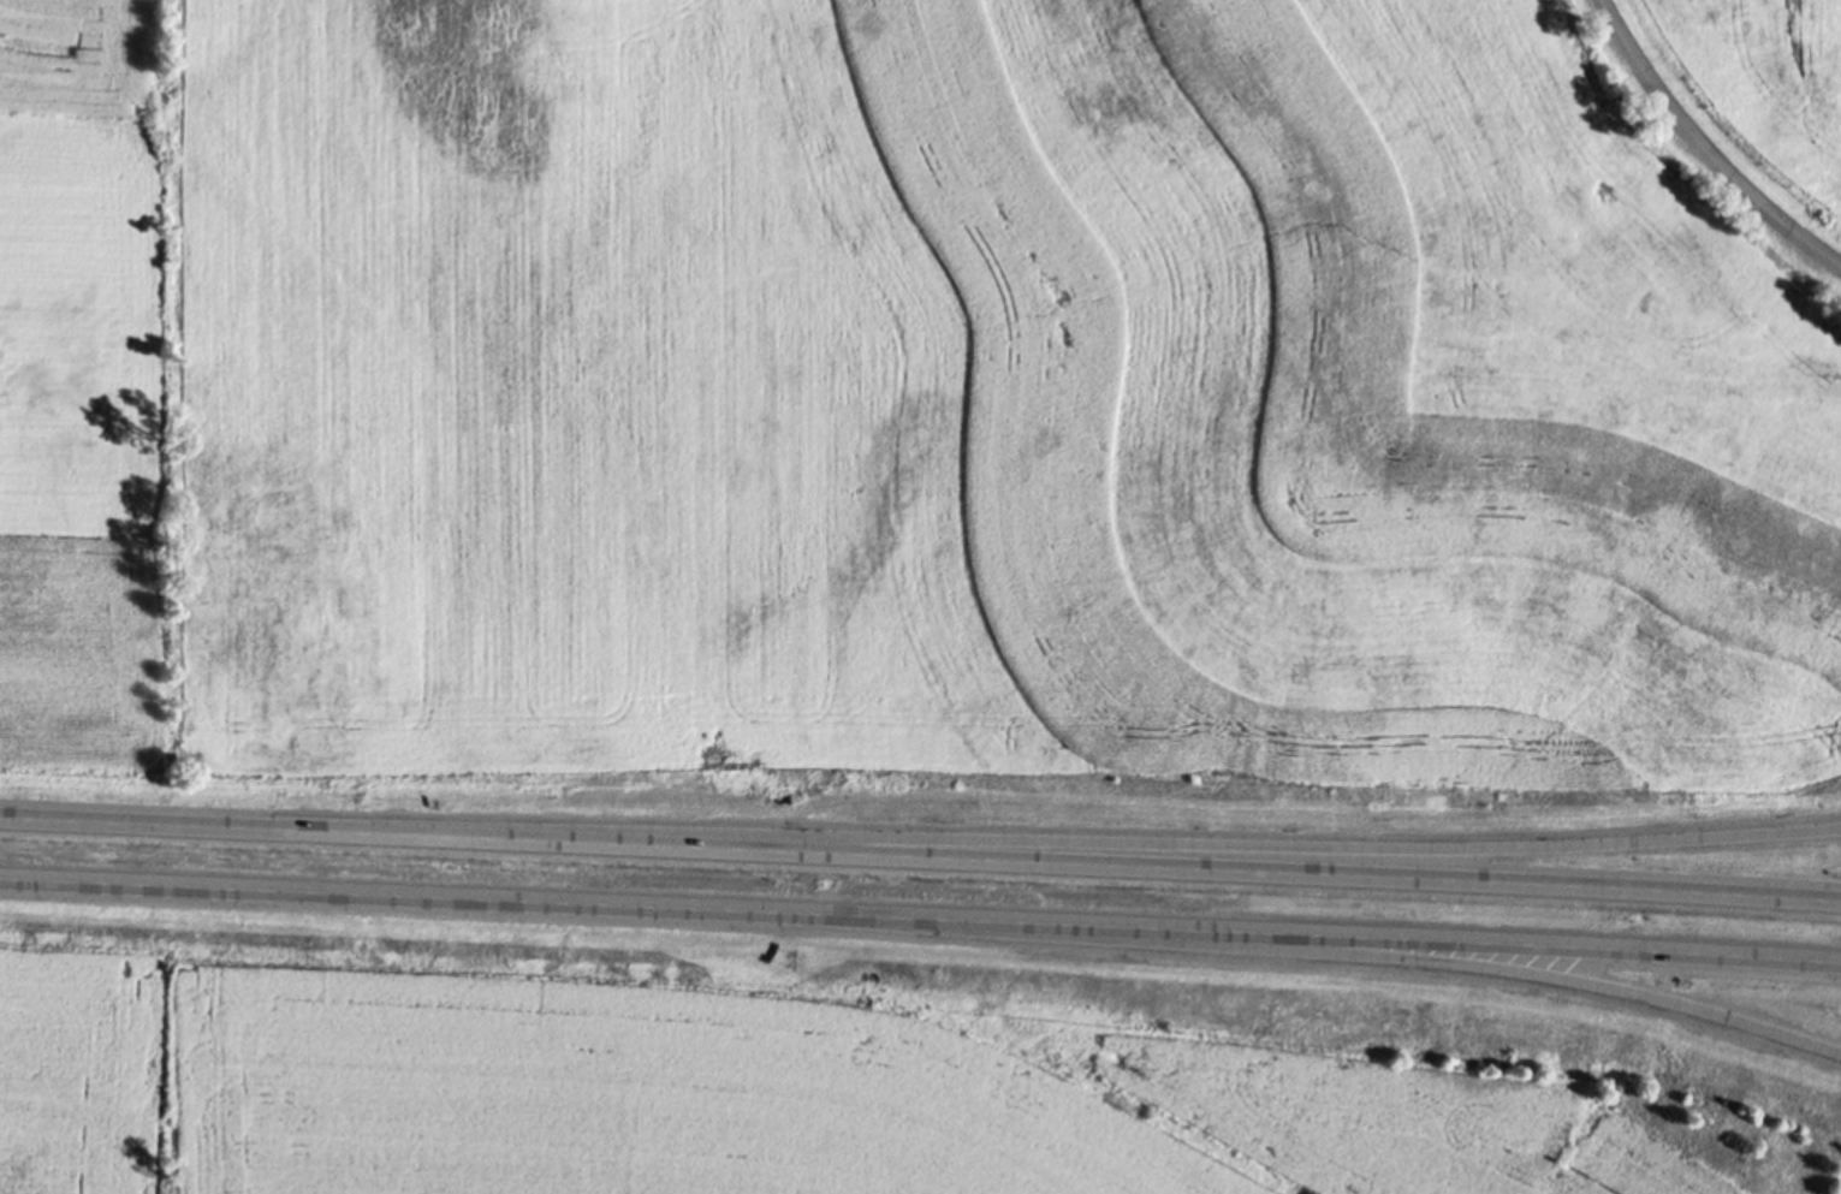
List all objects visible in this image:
crop: (1764, 82)
road: (1702, 150)
crop: (895, 403)
road: (1100, 843)
road: (920, 857)
road: (920, 920)
road: (1353, 956)

